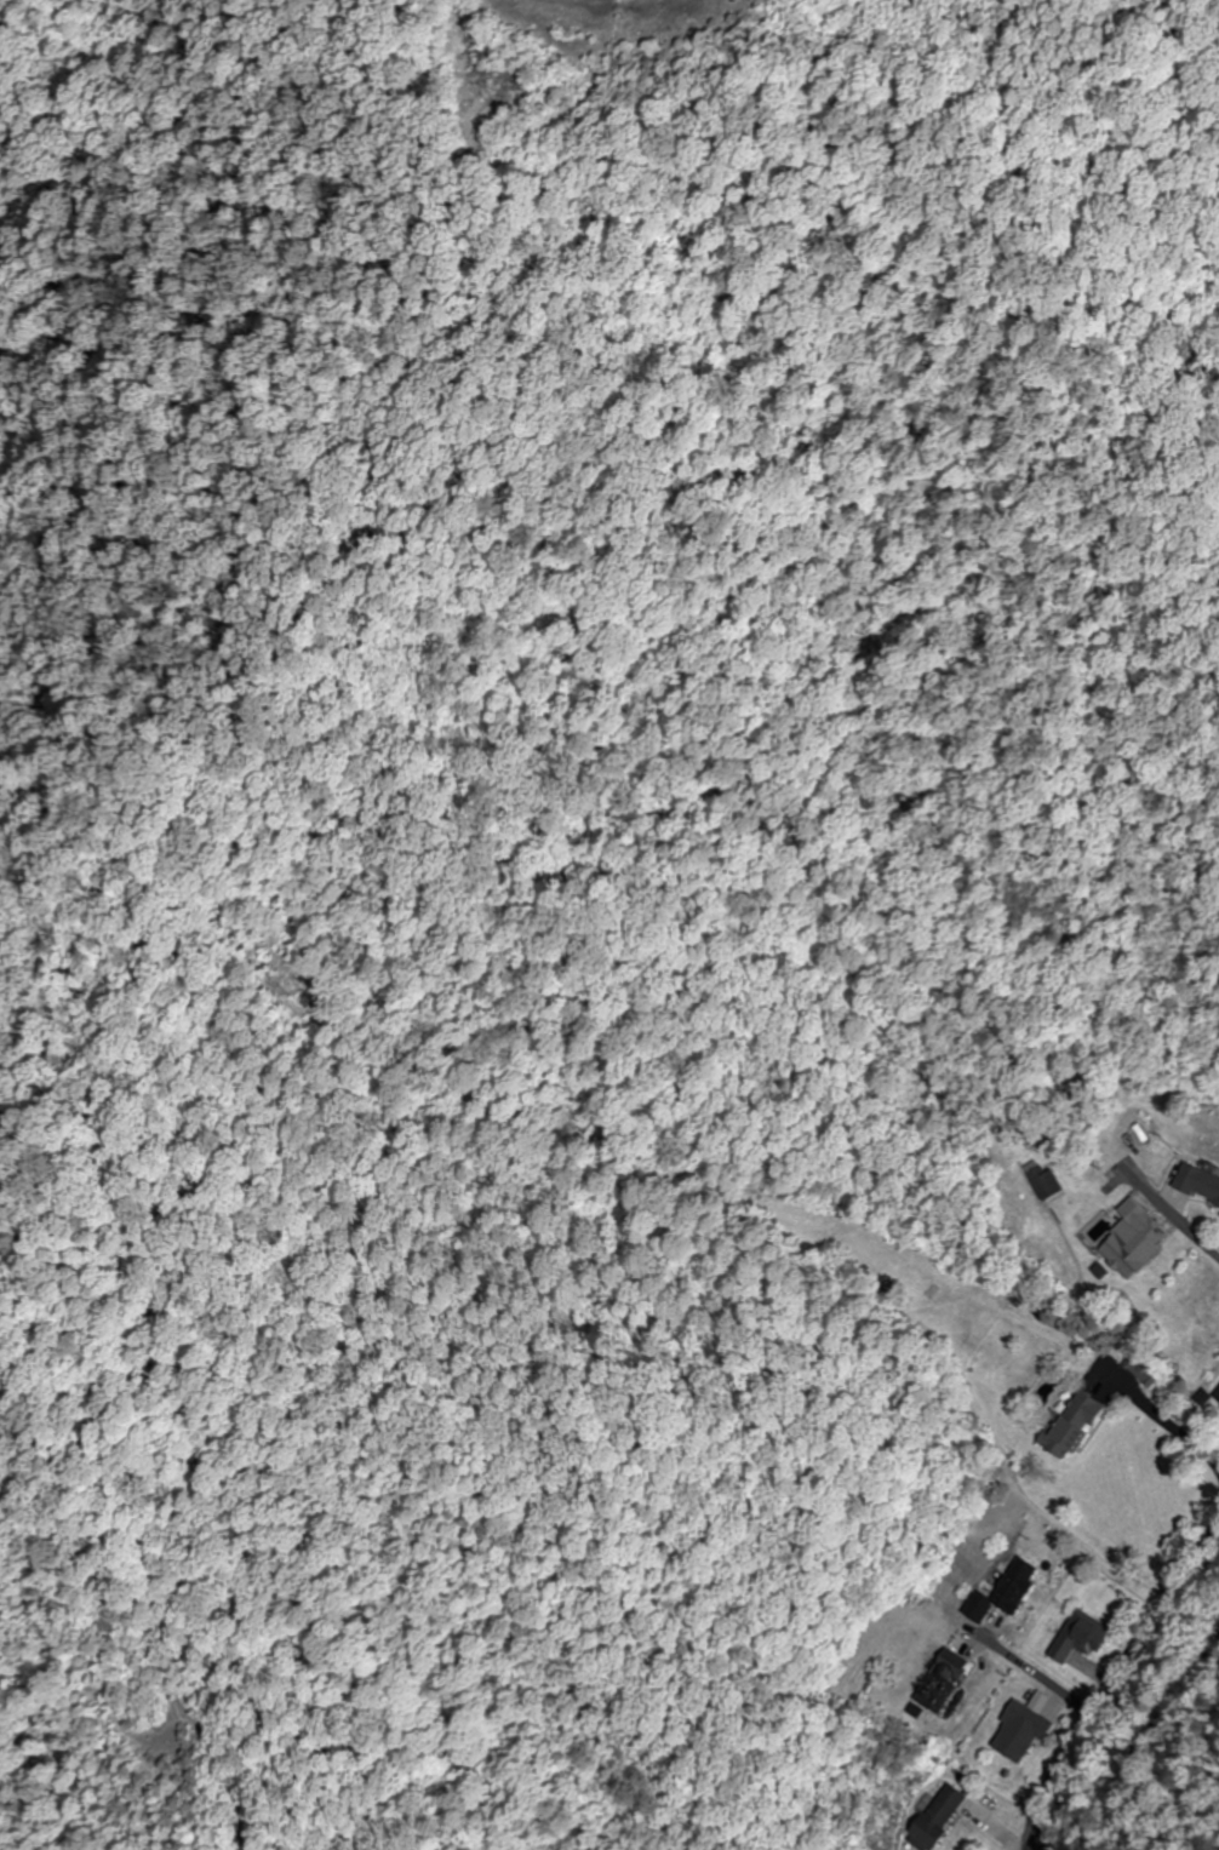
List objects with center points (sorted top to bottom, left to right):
building: (1045, 1184)
building: (1196, 1185)
building: (1132, 1241)
building: (1217, 1396)
building: (1069, 1425)
building: (1002, 1591)
building: (1080, 1637)
building: (940, 1680)
building: (1020, 1731)
road: (1158, 1742)
building: (937, 1817)

